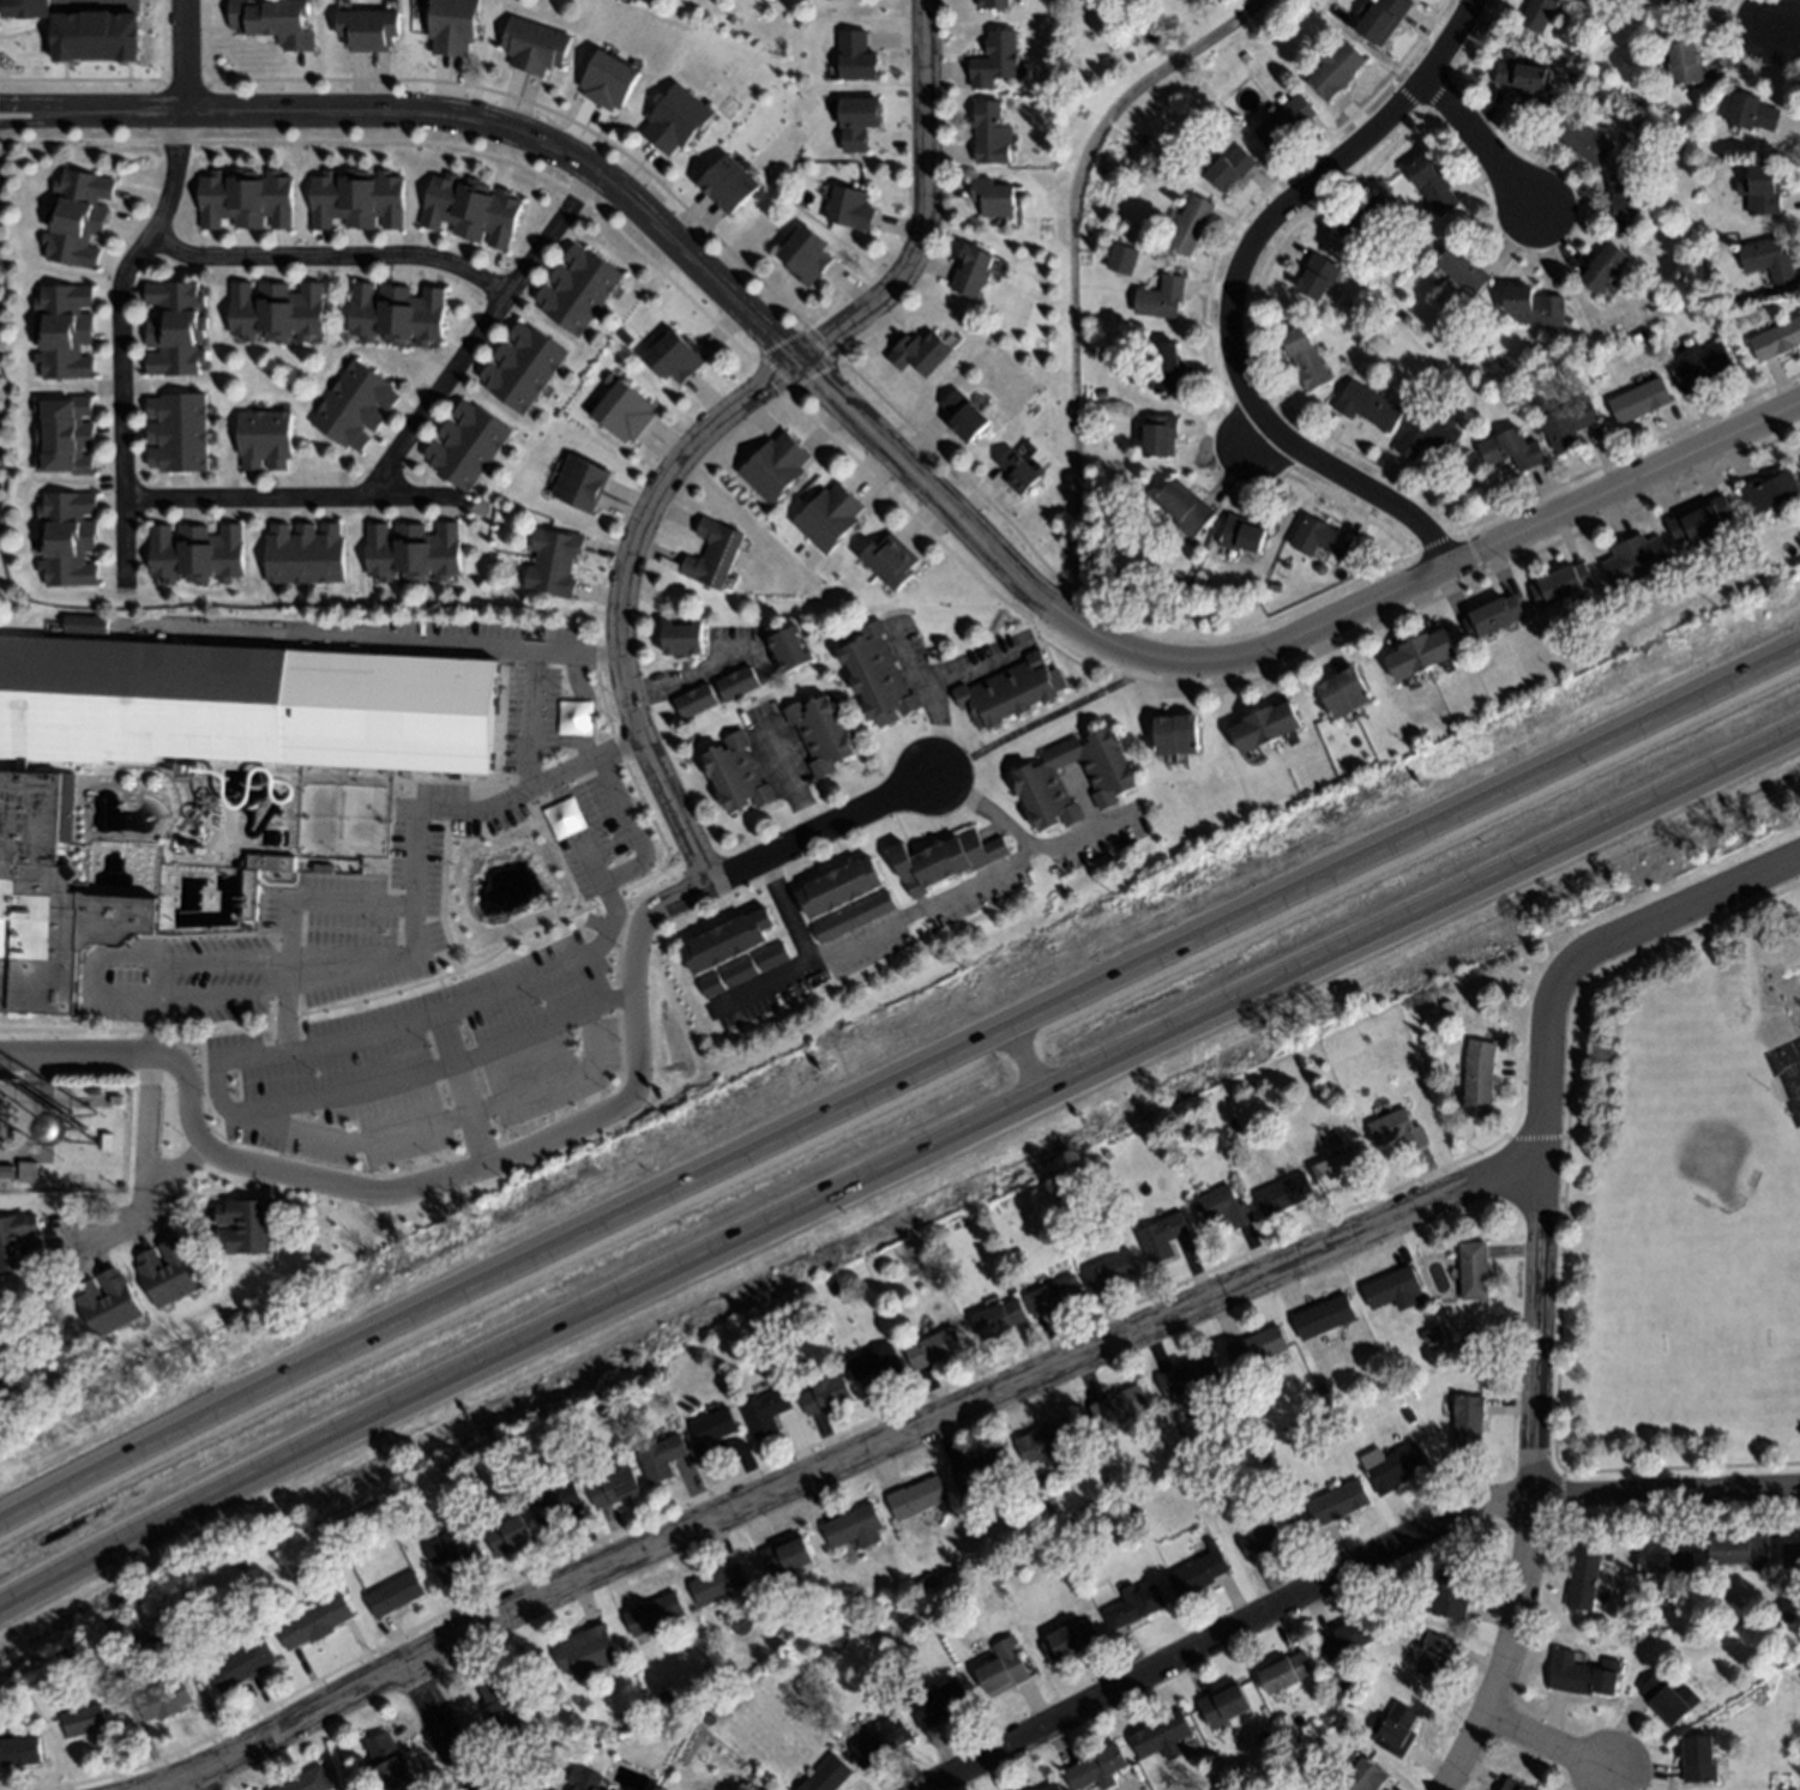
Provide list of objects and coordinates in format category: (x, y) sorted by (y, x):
building: (1673, 0)
building: (993, 2)
building: (25, 8)
building: (1537, 14)
building: (1380, 19)
building: (273, 20)
building: (452, 25)
building: (367, 28)
road: (1784, 31)
building: (96, 37)
building: (535, 44)
building: (855, 53)
building: (994, 58)
building: (1130, 58)
building: (1685, 62)
building: (1332, 70)
building: (609, 79)
building: (1523, 83)
building: (1751, 113)
building: (676, 117)
building: (857, 120)
building: (1283, 122)
building: (987, 132)
building: (1582, 140)
road: (1476, 141)
road: (440, 145)
building: (1232, 169)
building: (728, 182)
building: (1431, 183)
building: (1759, 189)
building: (993, 195)
road: (1298, 195)
building: (237, 198)
building: (349, 198)
building: (257, 199)
building: (279, 199)
building: (368, 199)
building: (213, 200)
building: (325, 200)
building: (391, 200)
building: (1627, 203)
building: (850, 206)
building: (471, 209)
building: (78, 215)
building: (1361, 221)
building: (1190, 225)
building: (806, 254)
road: (330, 258)
building: (1121, 259)
building: (1766, 259)
building: (1606, 267)
building: (971, 269)
building: (1462, 269)
building: (1318, 276)
road: (119, 287)
building: (578, 287)
building: (175, 295)
building: (64, 299)
building: (1161, 299)
building: (1534, 307)
building: (265, 311)
building: (1721, 311)
building: (243, 312)
building: (285, 312)
building: (311, 312)
building: (363, 312)
building: (386, 313)
building: (405, 317)
building: (429, 317)
building: (177, 319)
building: (65, 321)
building: (1637, 337)
building: (175, 338)
building: (1776, 338)
building: (64, 342)
building: (919, 350)
building: (674, 355)
building: (1305, 355)
building: (175, 362)
building: (522, 364)
building: (66, 366)
building: (1698, 366)
building: (1166, 368)
building: (1101, 393)
building: (1639, 400)
building: (354, 404)
building: (624, 406)
building: (1368, 406)
building: (65, 409)
building: (1097, 409)
building: (964, 415)
road: (903, 420)
road: (722, 421)
building: (1567, 423)
building: (65, 428)
building: (179, 430)
road: (410, 434)
building: (1428, 434)
building: (1160, 436)
building: (264, 438)
road: (1253, 440)
building: (466, 444)
building: (64, 445)
building: (1510, 450)
building: (65, 463)
road: (898, 463)
building: (775, 465)
building: (1018, 469)
building: (580, 481)
road: (1363, 492)
building: (1769, 492)
road: (1641, 501)
building: (67, 506)
building: (1185, 508)
building: (829, 516)
building: (1700, 520)
building: (70, 529)
building: (1241, 536)
building: (1322, 538)
building: (67, 548)
building: (413, 550)
building: (197, 552)
building: (302, 552)
building: (712, 552)
building: (554, 560)
building: (890, 560)
building: (1635, 560)
building: (1320, 568)
building: (68, 572)
building: (1198, 580)
building: (1184, 584)
building: (1561, 584)
building: (1274, 587)
building: (1492, 616)
building: (86, 622)
building: (681, 637)
road: (471, 647)
building: (789, 647)
building: (1420, 652)
road: (1097, 662)
road: (974, 670)
road: (690, 671)
building: (875, 673)
road: (532, 677)
building: (736, 682)
building: (1343, 689)
building: (1009, 691)
building: (693, 699)
road: (933, 699)
building: (1499, 704)
road: (582, 706)
road: (1039, 719)
building: (1264, 725)
building: (819, 731)
building: (1174, 733)
building: (193, 753)
building: (735, 772)
building: (1110, 776)
road: (789, 777)
road: (982, 804)
road: (632, 824)
road: (1083, 839)
building: (944, 858)
building: (270, 861)
building: (323, 867)
building: (838, 886)
road: (1705, 898)
road: (785, 910)
road: (289, 916)
building: (853, 916)
road: (874, 930)
building: (724, 939)
road: (401, 950)
building: (771, 956)
building: (736, 970)
building: (710, 984)
road: (499, 989)
building: (1446, 1007)
road: (157, 1019)
road: (1034, 1054)
building: (1300, 1063)
road: (435, 1069)
road: (893, 1077)
building: (1480, 1077)
road: (460, 1090)
building: (95, 1092)
building: (116, 1099)
building: (1200, 1116)
power substation: (17, 1122)
building: (1232, 1125)
road: (411, 1129)
building: (1397, 1129)
water tower: (101, 1133)
building: (108, 1139)
road: (530, 1149)
road: (898, 1161)
building: (1340, 1169)
building: (28, 1173)
road: (143, 1176)
building: (1059, 1191)
building: (1284, 1194)
building: (1222, 1207)
building: (245, 1224)
building: (1161, 1238)
building: (19, 1240)
building: (169, 1271)
building: (1109, 1271)
building: (1473, 1271)
building: (1392, 1288)
building: (832, 1289)
building: (1010, 1290)
building: (1053, 1296)
building: (108, 1301)
building: (1323, 1316)
building: (998, 1318)
building: (1433, 1332)
building: (772, 1334)
building: (1470, 1343)
building: (934, 1348)
building: (1256, 1348)
road: (1535, 1361)
building: (877, 1364)
building: (772, 1375)
building: (1188, 1376)
building: (1, 1387)
building: (824, 1394)
building: (1120, 1406)
building: (604, 1411)
building: (764, 1412)
building: (1467, 1423)
building: (1262, 1427)
building: (712, 1433)
building: (1115, 1440)
building: (1047, 1444)
building: (475, 1458)
building: (661, 1459)
road: (842, 1460)
building: (1392, 1466)
building: (981, 1469)
building: (614, 1488)
building: (916, 1499)
building: (1337, 1503)
building: (555, 1505)
building: (851, 1527)
building: (1271, 1535)
building: (507, 1536)
building: (1739, 1549)
building: (454, 1550)
building: (1790, 1555)
building: (1664, 1556)
building: (787, 1559)
building: (239, 1565)
road: (1347, 1568)
building: (1198, 1572)
building: (1583, 1577)
building: (928, 1583)
building: (718, 1584)
building: (395, 1595)
building: (1451, 1595)
building: (1134, 1608)
building: (652, 1614)
building: (1788, 1616)
building: (314, 1622)
building: (1347, 1638)
building: (1068, 1641)
building: (107, 1646)
building: (588, 1651)
building: (71, 1652)
building: (144, 1652)
building: (1435, 1656)
building: (241, 1665)
building: (1004, 1669)
building: (1287, 1673)
building: (1583, 1675)
building: (1343, 1684)
building: (664, 1696)
building: (1667, 1698)
building: (163, 1700)
building: (938, 1704)
building: (501, 1707)
building: (1222, 1707)
building: (640, 1711)
building: (708, 1719)
building: (90, 1725)
road: (445, 1728)
building: (1397, 1730)
building: (1162, 1736)
building: (1296, 1740)
building: (881, 1741)
building: (594, 1743)
road: (1545, 1743)
building: (19, 1752)
building: (1699, 1759)
building: (387, 1761)
building: (636, 1765)
building: (1096, 1770)
building: (829, 1776)
building: (1362, 1777)
building: (585, 1779)
building: (308, 1780)
road: (197, 1783)
building: (1515, 1785)
building: (1052, 1788)
building: (765, 1789)
building: (1035, 1789)

